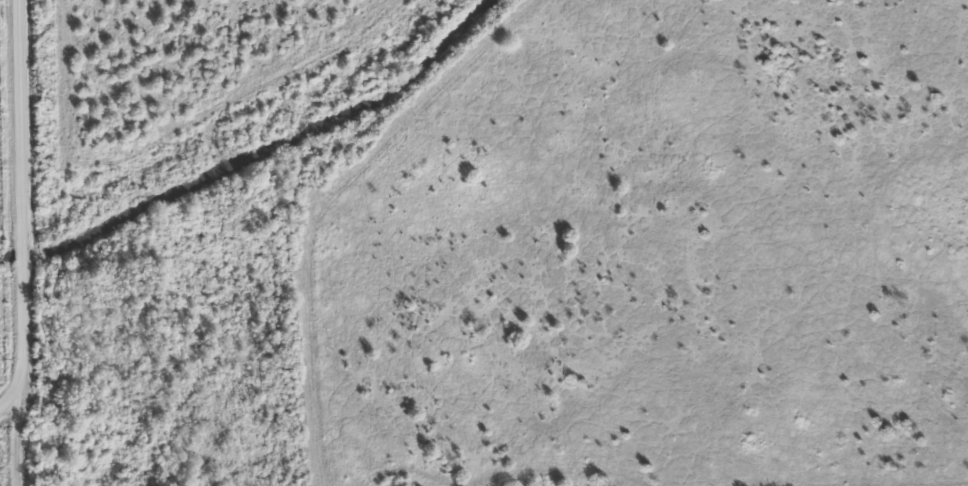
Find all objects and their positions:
road: (23, 204)

